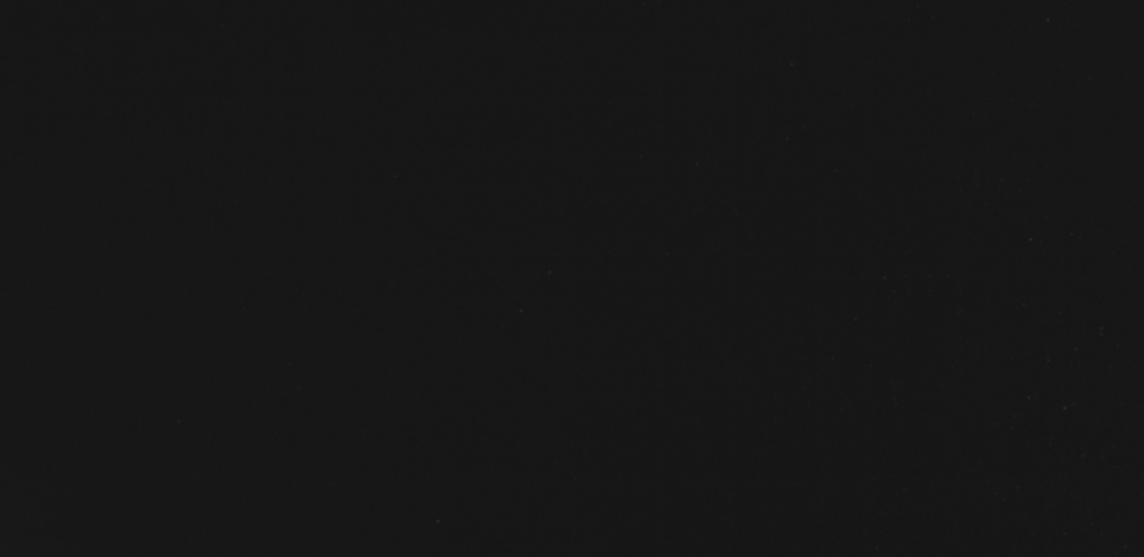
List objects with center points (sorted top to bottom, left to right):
river: (818, 228)

